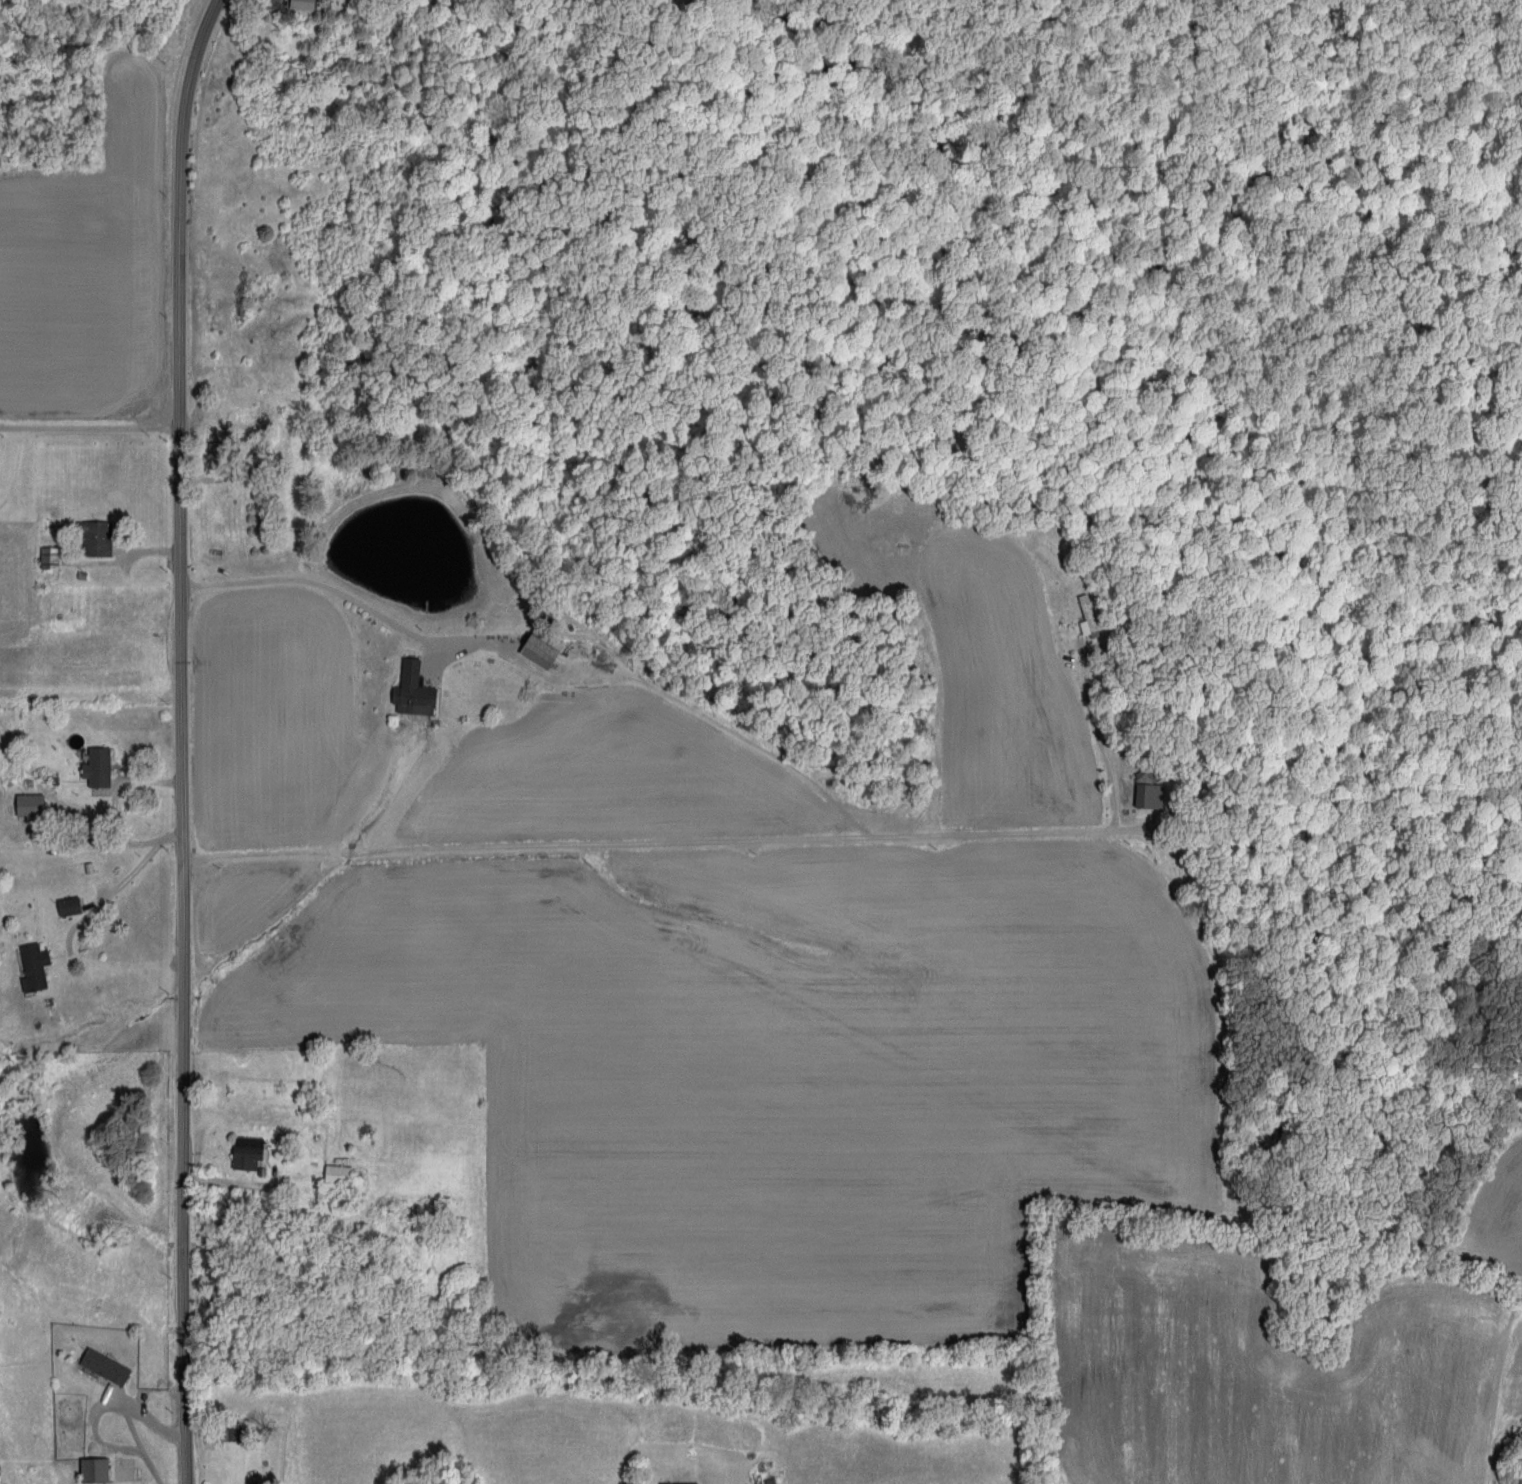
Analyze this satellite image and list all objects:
building: (303, 4)
road: (90, 433)
building: (219, 453)
building: (97, 537)
building: (50, 556)
road: (314, 586)
building: (1087, 617)
building: (544, 649)
building: (414, 689)
road: (181, 739)
building: (98, 766)
building: (1149, 794)
building: (31, 803)
road: (671, 840)
road: (125, 881)
building: (70, 905)
building: (34, 966)
building: (248, 1151)
building: (339, 1173)
building: (106, 1365)
building: (95, 1470)
building: (679, 1482)

